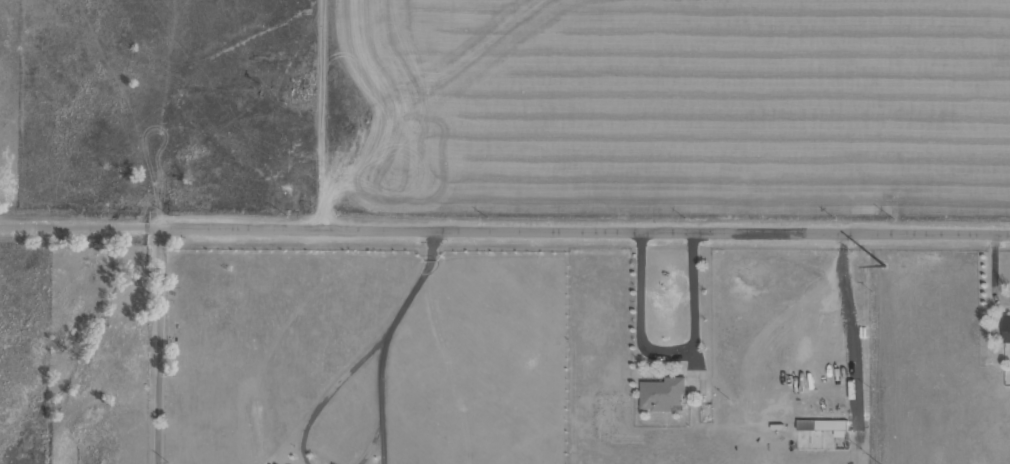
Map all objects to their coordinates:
road: (504, 228)
power tower: (876, 264)
building: (1006, 327)
road: (158, 345)
building: (660, 393)
building: (821, 424)

